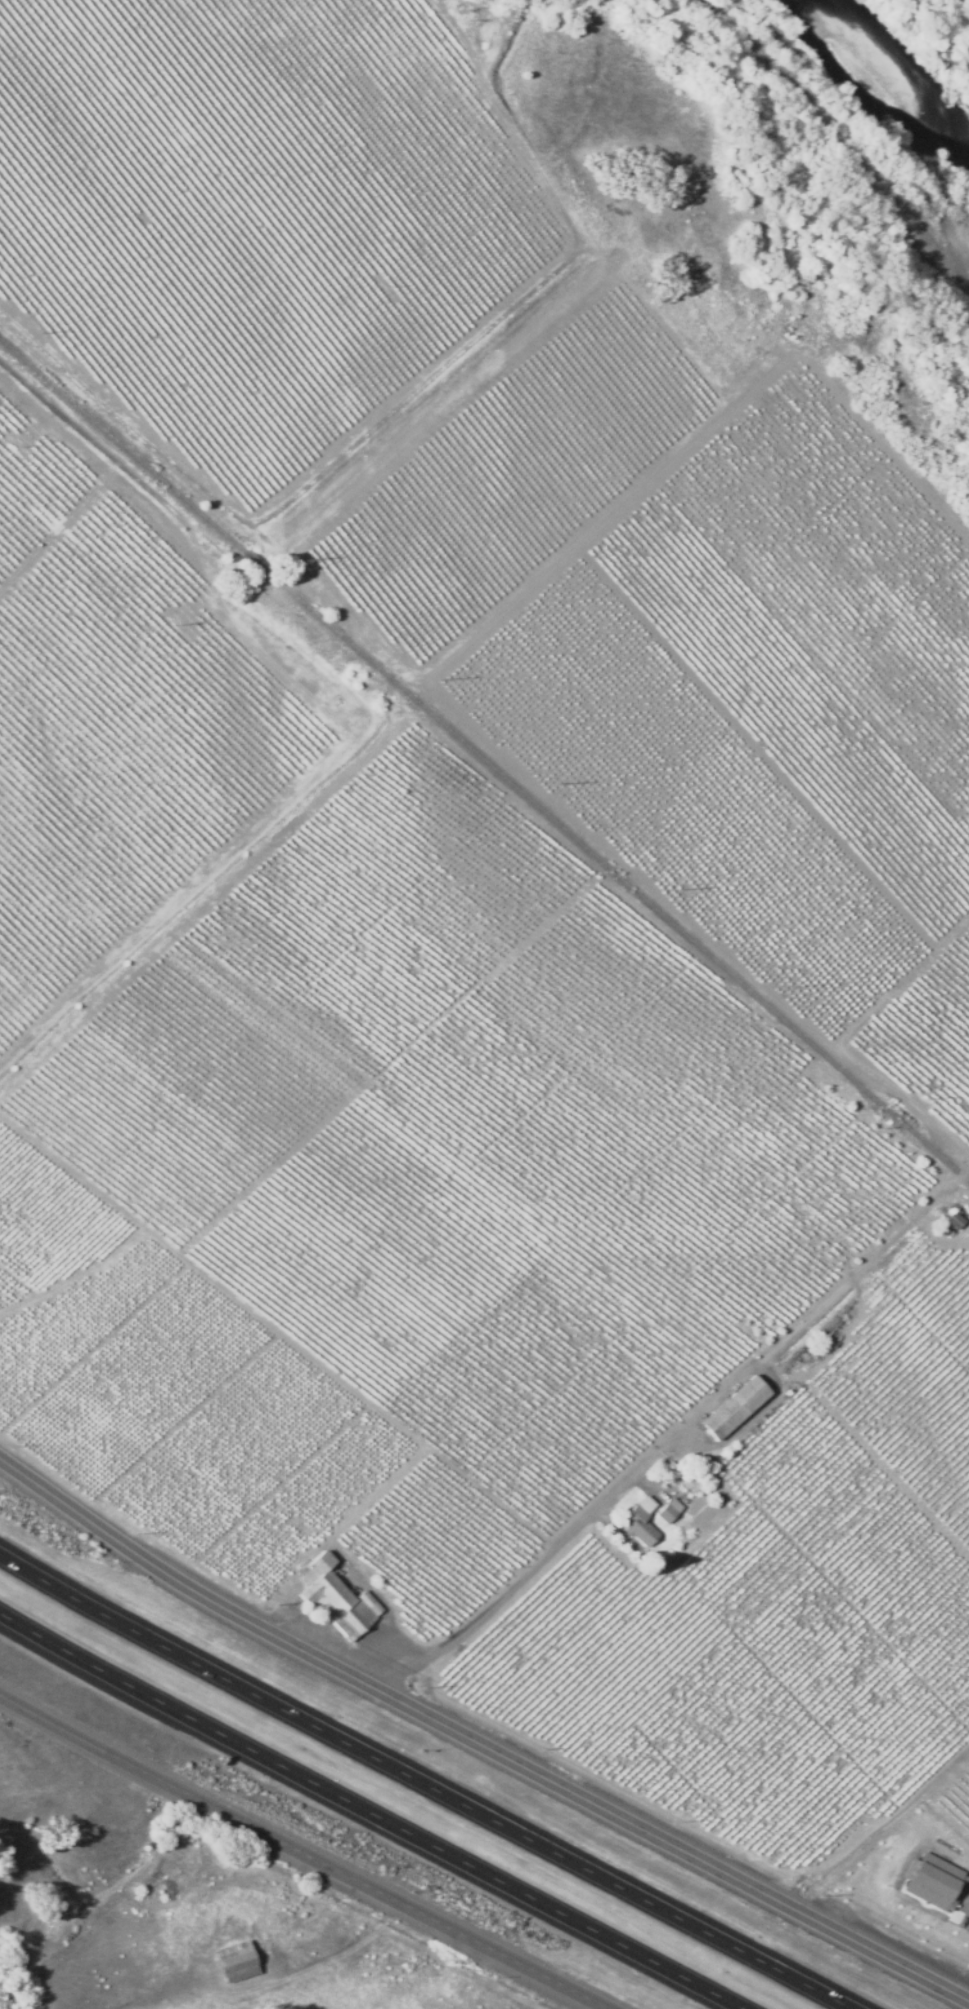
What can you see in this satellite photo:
river: (848, 118)
railway: (483, 762)
building: (957, 1224)
building: (731, 1406)
building: (750, 1428)
building: (667, 1511)
building: (638, 1526)
building: (356, 1575)
building: (336, 1601)
road: (477, 1745)
road: (425, 1782)
road: (371, 1811)
road: (299, 1855)
building: (931, 1880)
building: (235, 1961)

